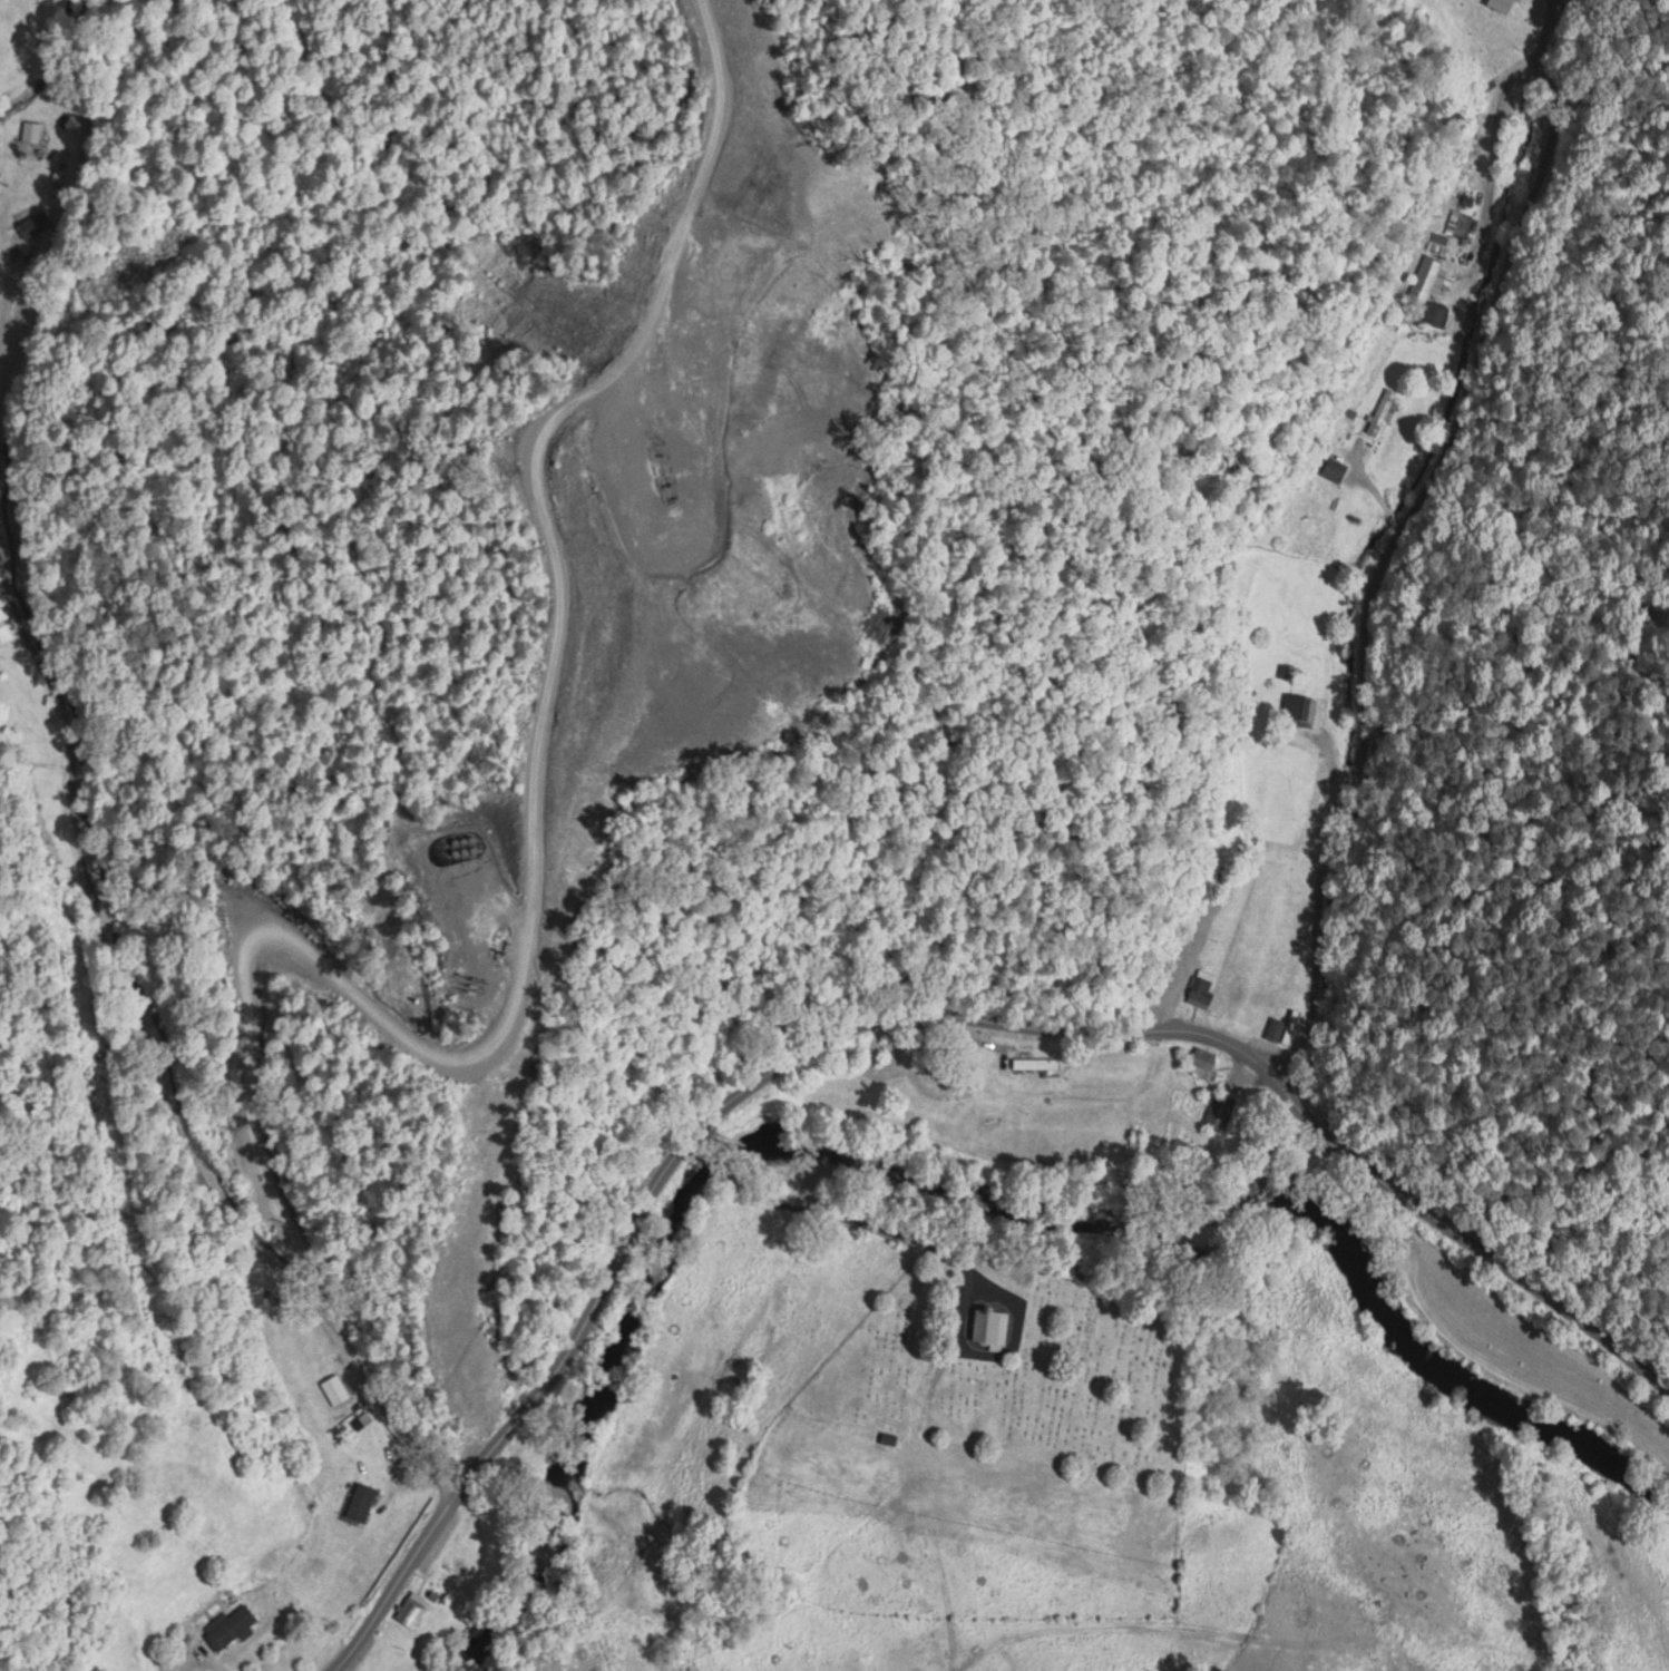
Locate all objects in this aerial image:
building: (29, 128)
building: (36, 224)
building: (1437, 241)
building: (1434, 311)
building: (1380, 409)
building: (1331, 466)
road: (1416, 544)
building: (3, 625)
building: (1296, 703)
building: (1199, 985)
building: (1273, 1027)
building: (1199, 1059)
building: (1033, 1061)
building: (1218, 1110)
road: (695, 1140)
road: (1474, 1242)
building: (987, 1321)
park: (1018, 1360)
building: (358, 1499)
building: (409, 1608)
building: (228, 1624)

